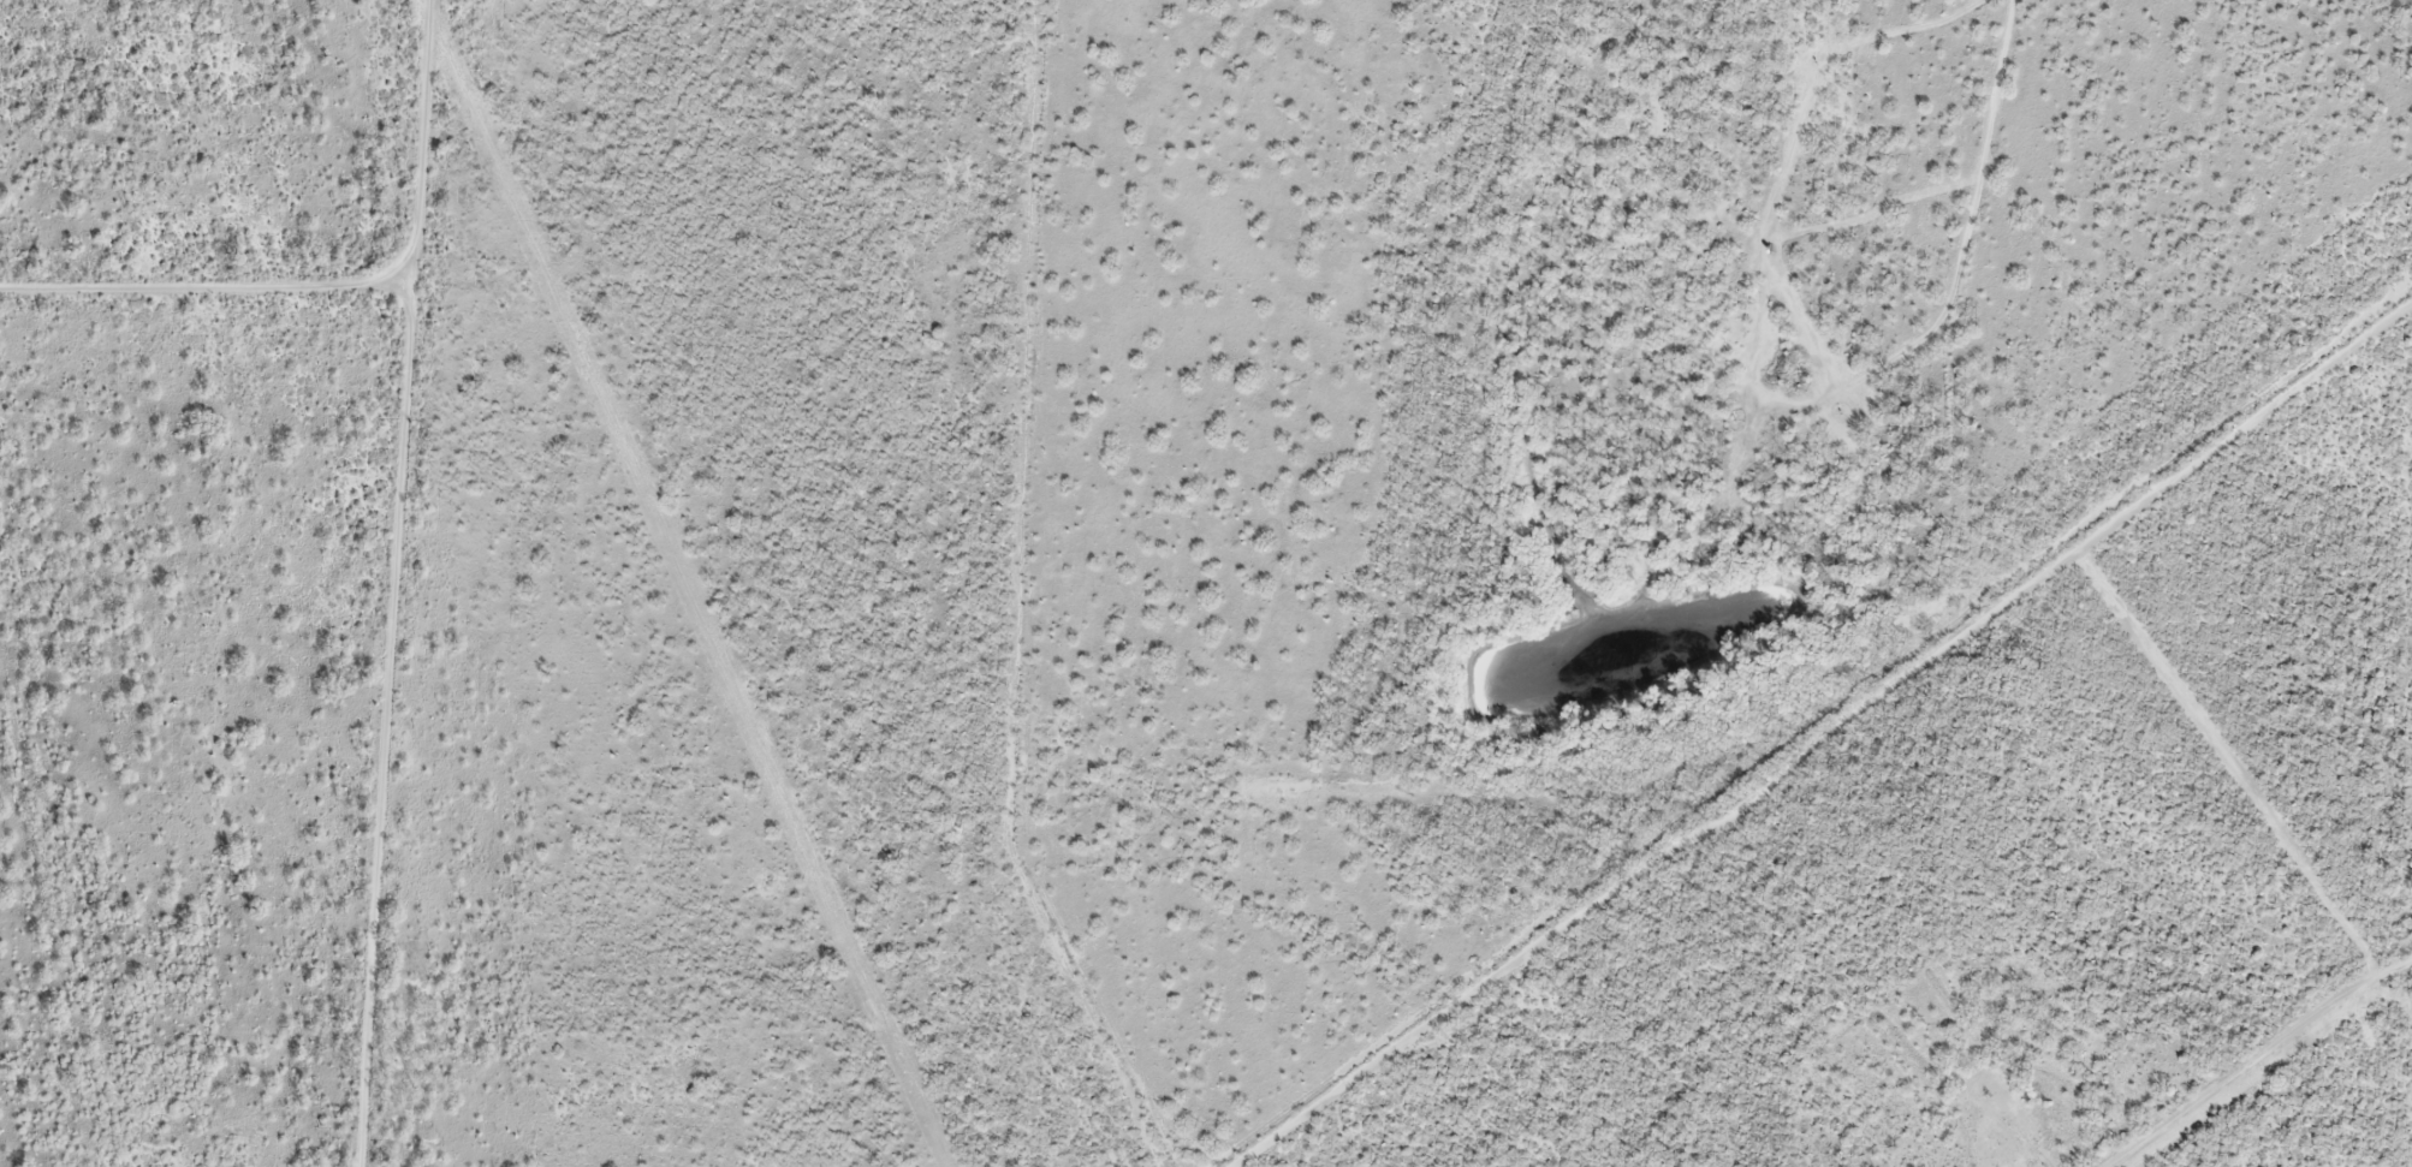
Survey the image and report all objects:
road: (361, 583)

